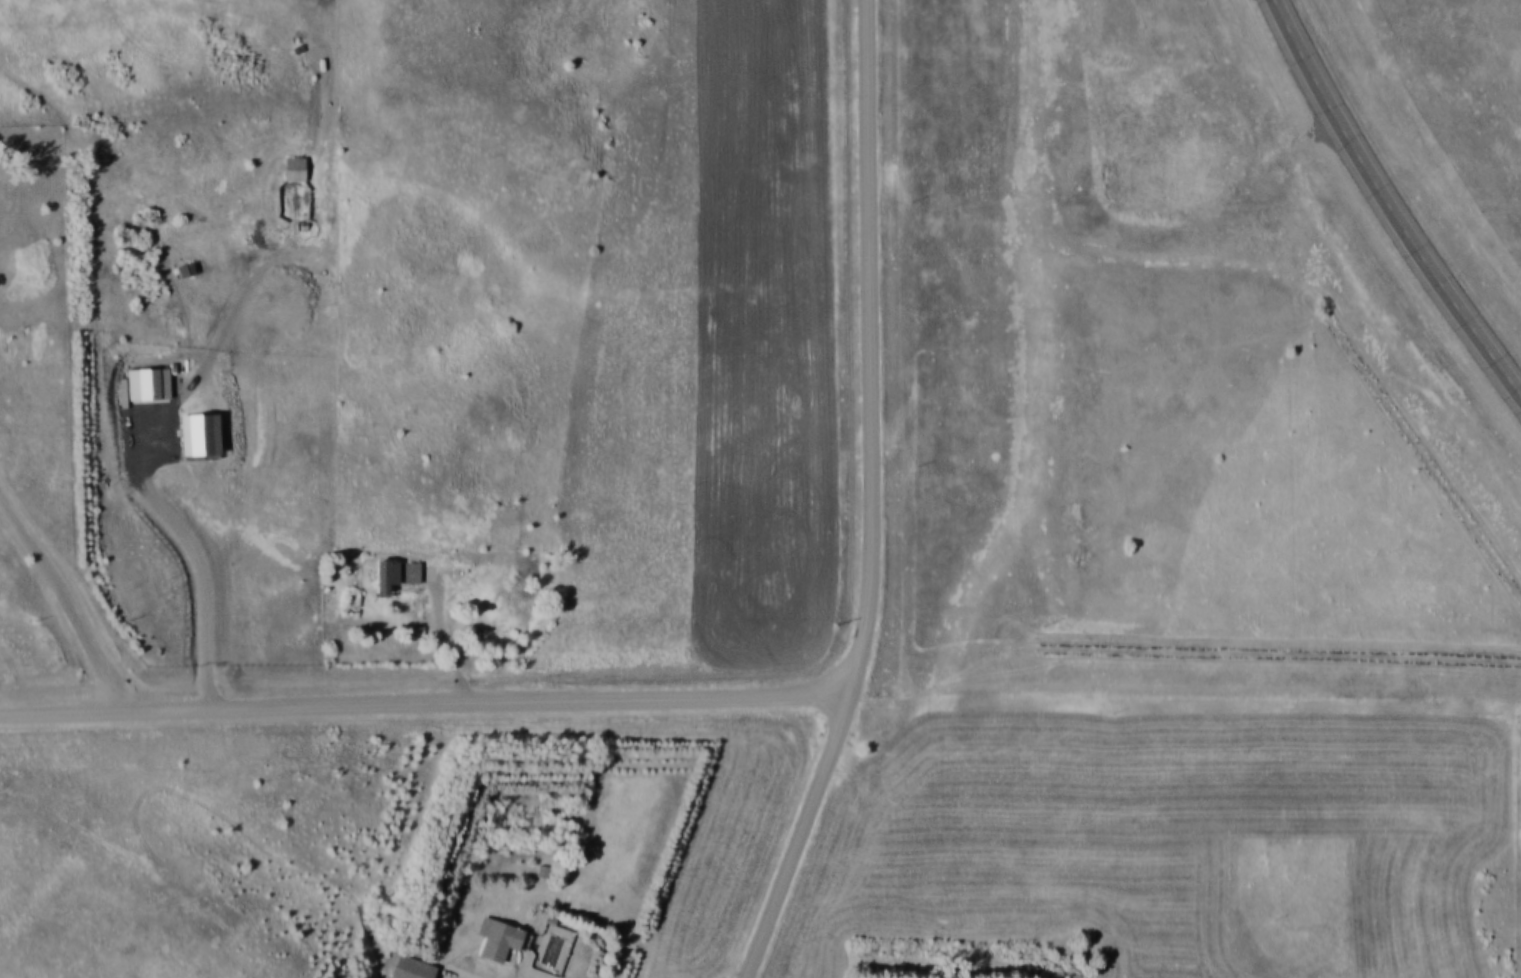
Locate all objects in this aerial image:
building: (295, 168)
road: (1387, 204)
building: (187, 269)
road: (870, 349)
building: (396, 573)
road: (68, 601)
road: (454, 642)
road: (425, 700)
road: (800, 837)
building: (498, 938)
building: (413, 968)
road: (460, 976)

